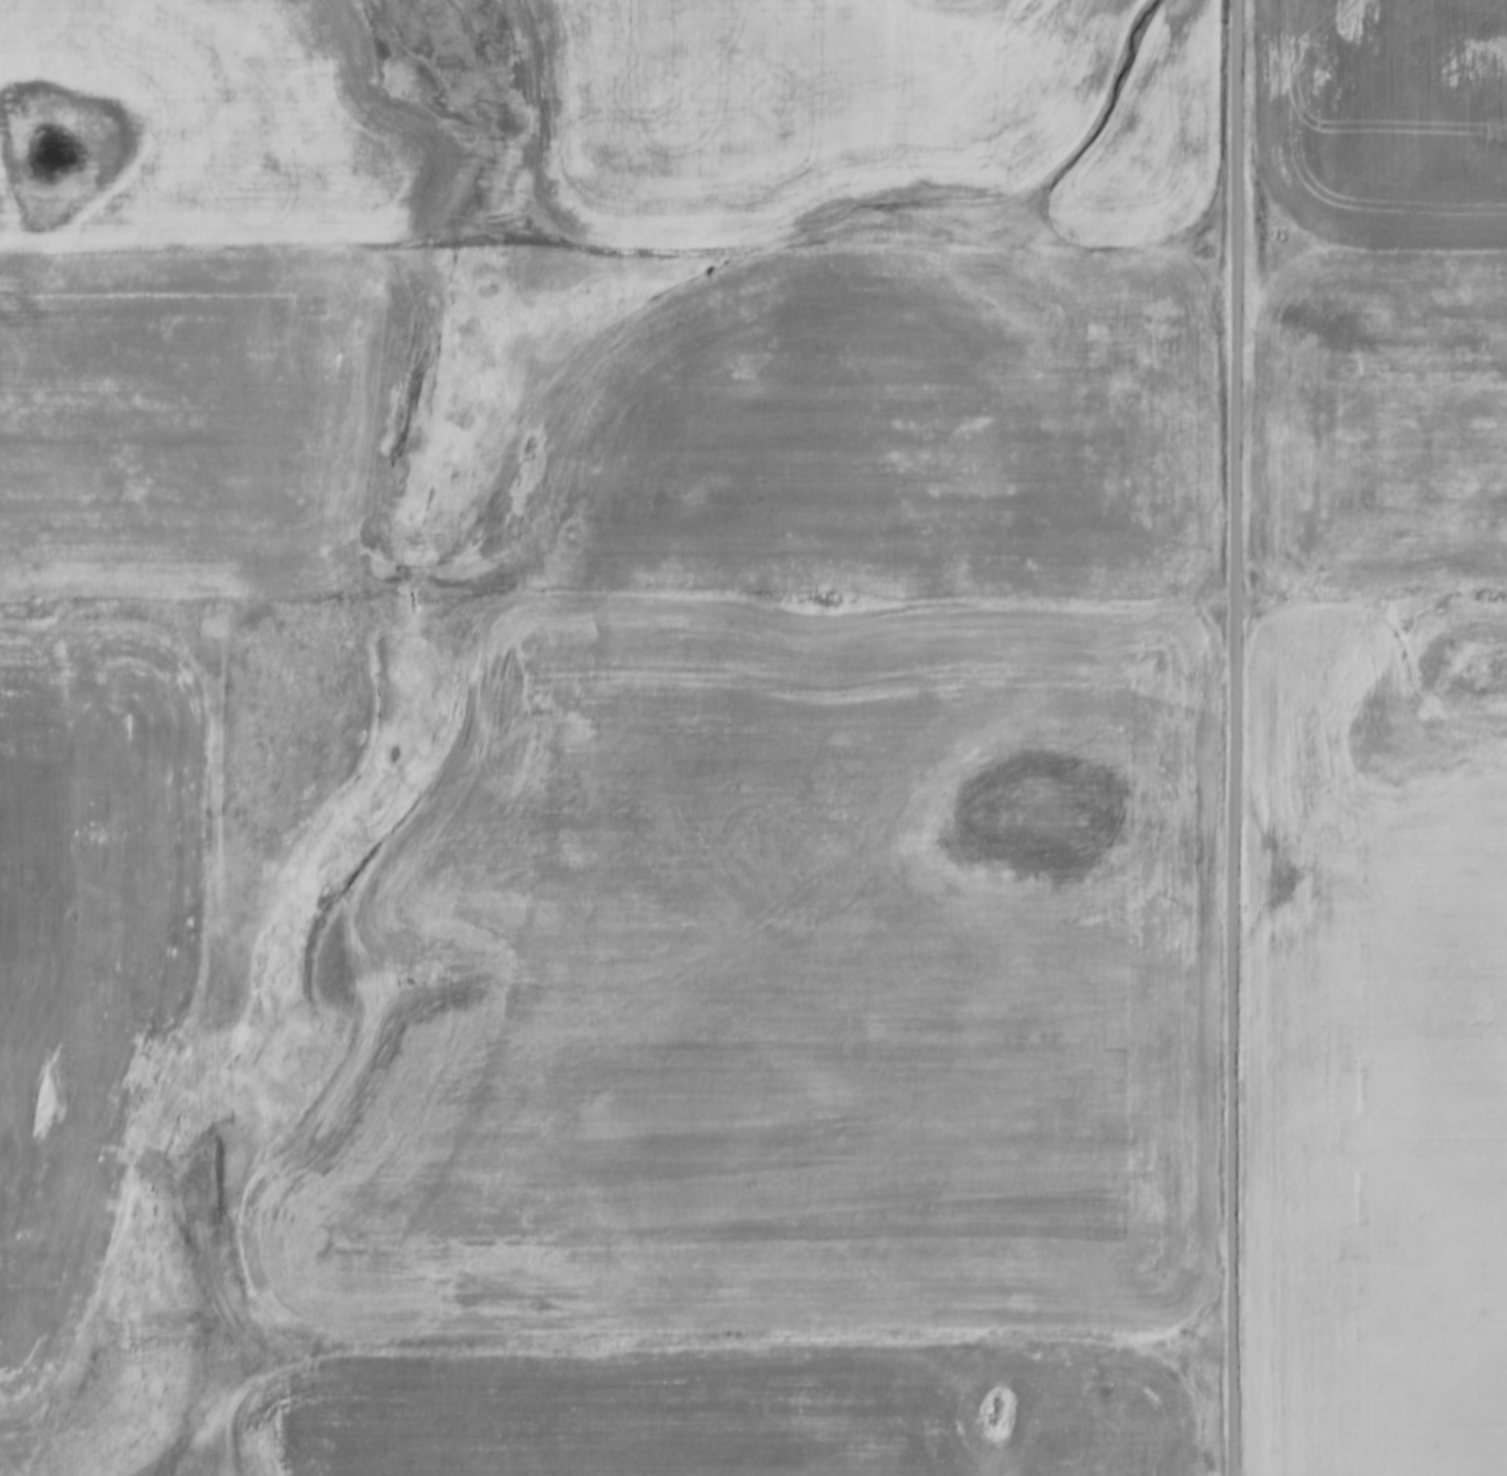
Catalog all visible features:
road: (1232, 738)

